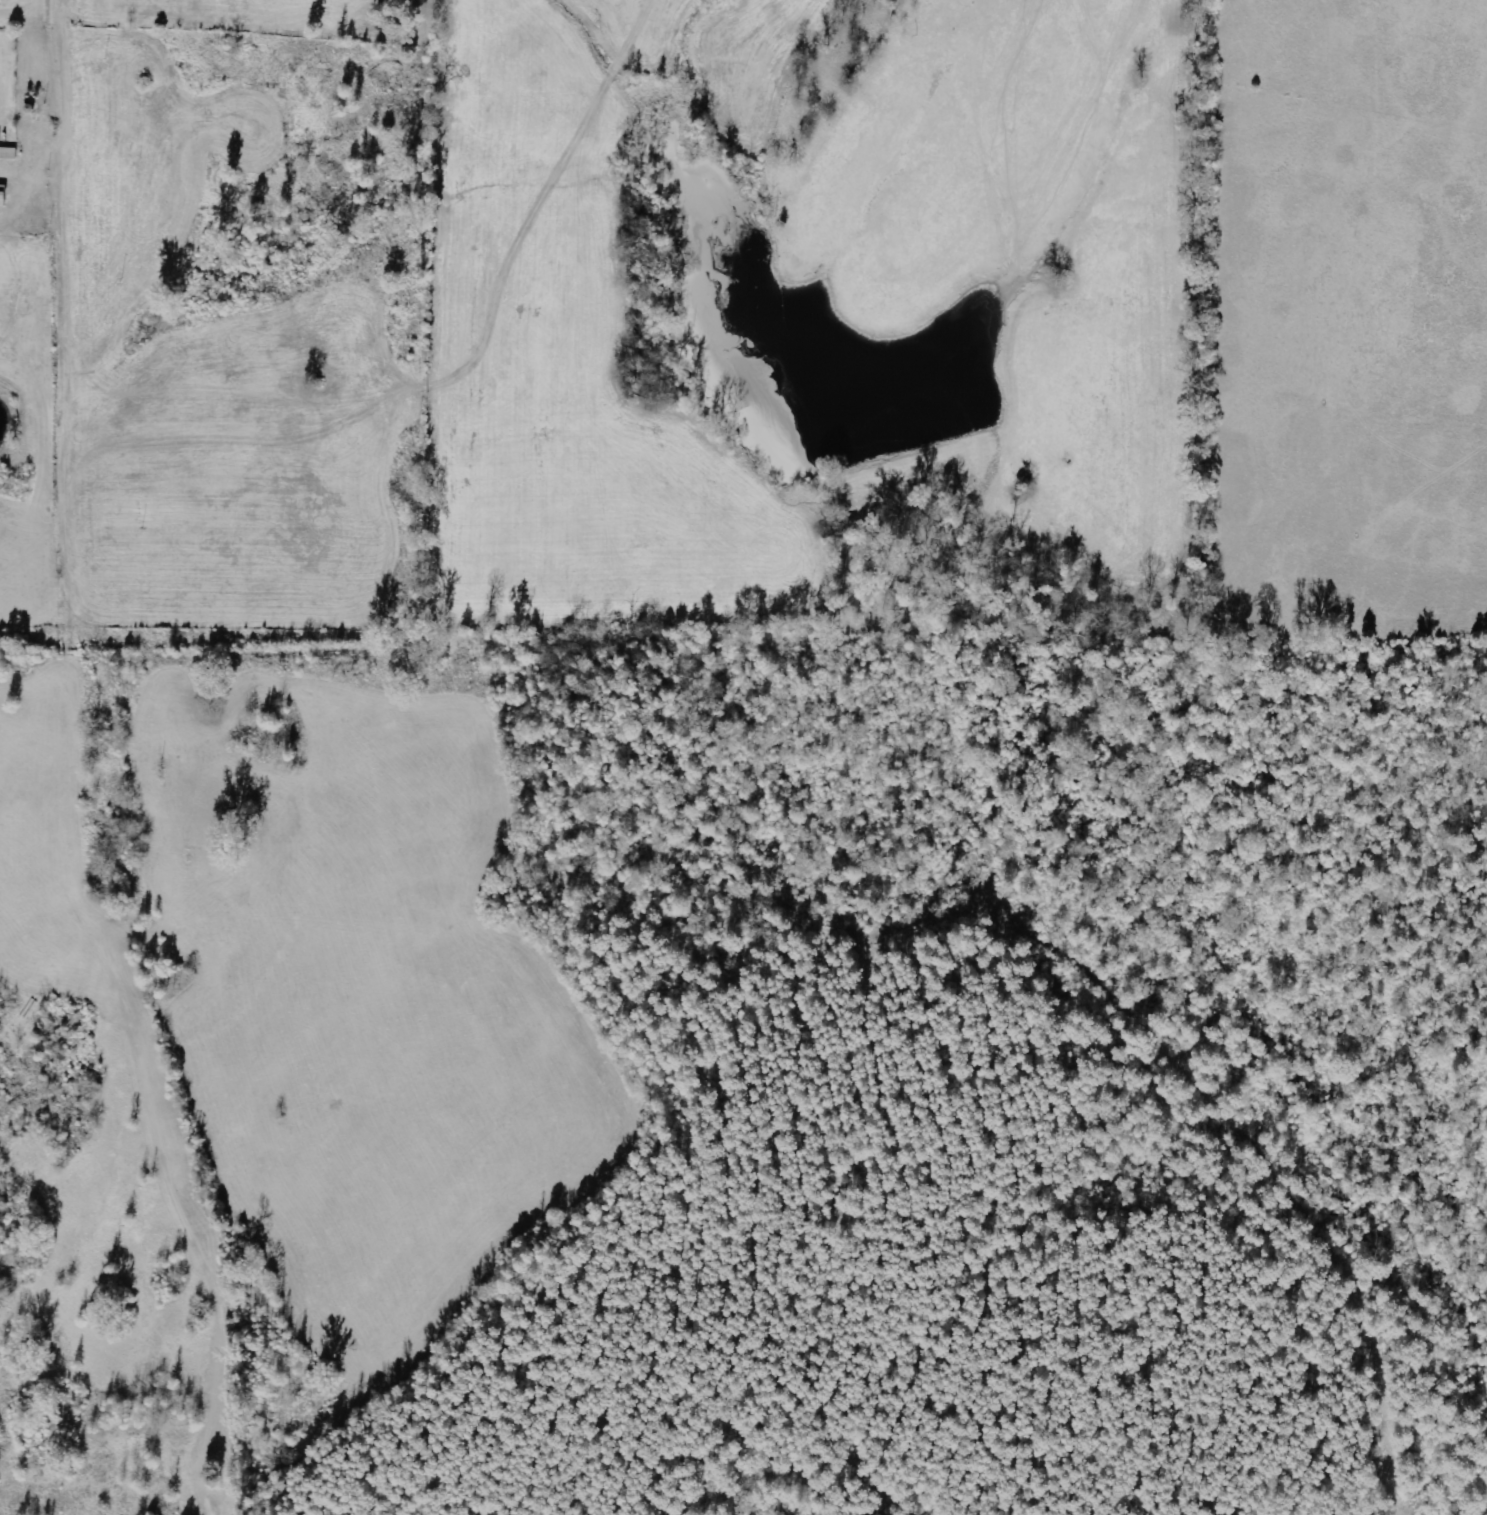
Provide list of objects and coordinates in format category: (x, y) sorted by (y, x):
building: (3, 194)

